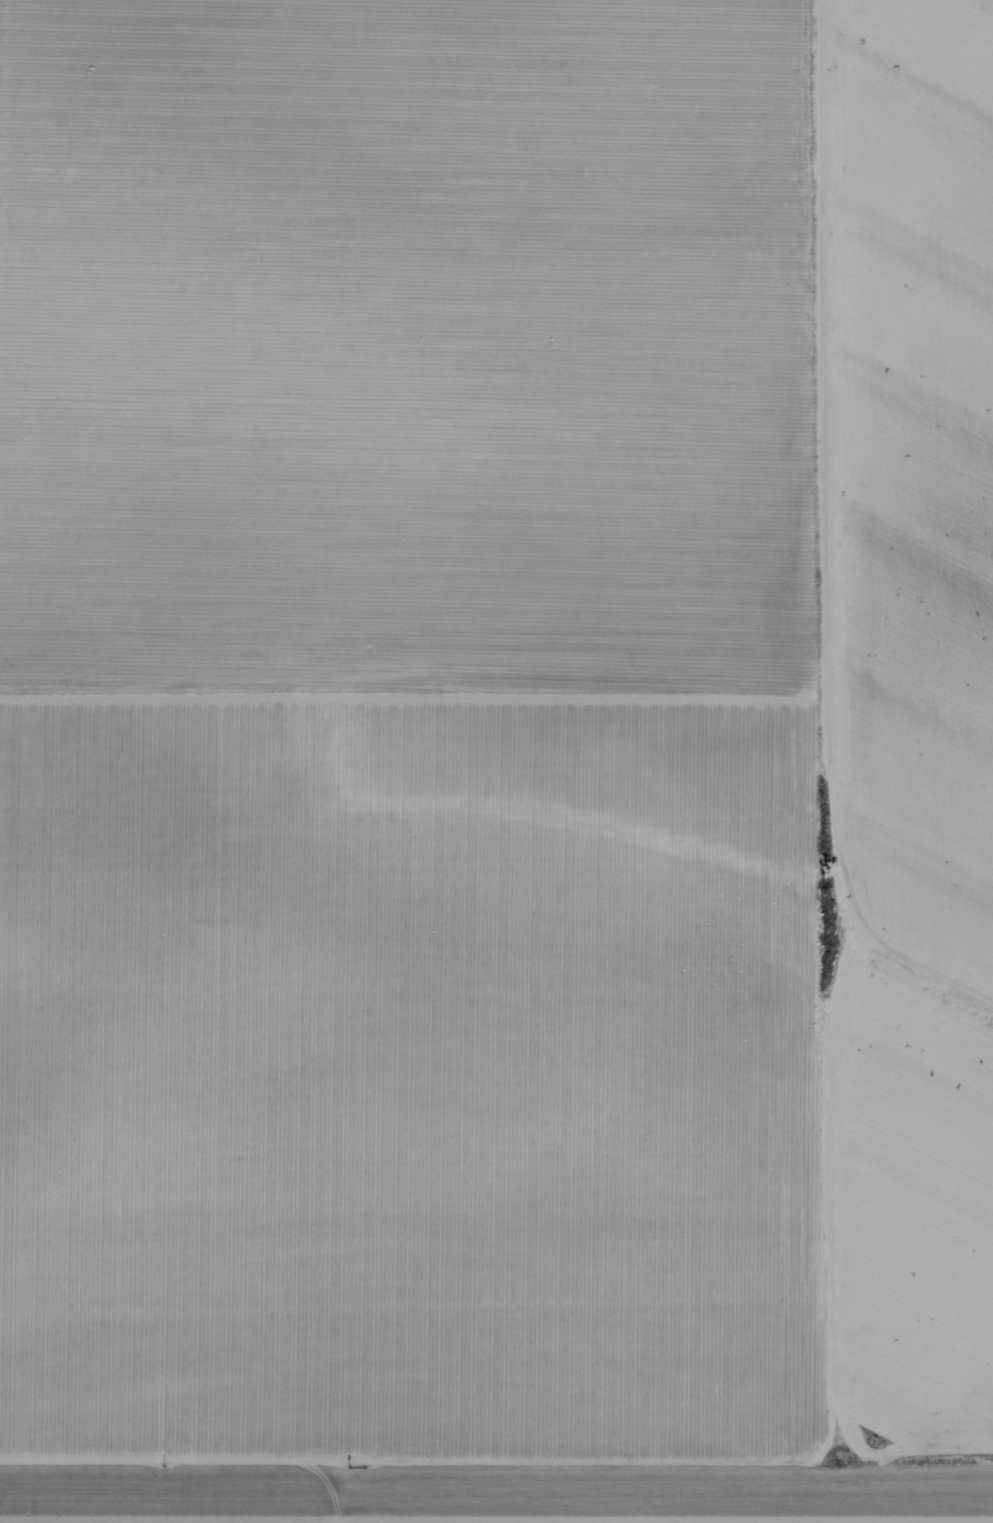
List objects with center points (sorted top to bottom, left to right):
road: (333, 1503)

